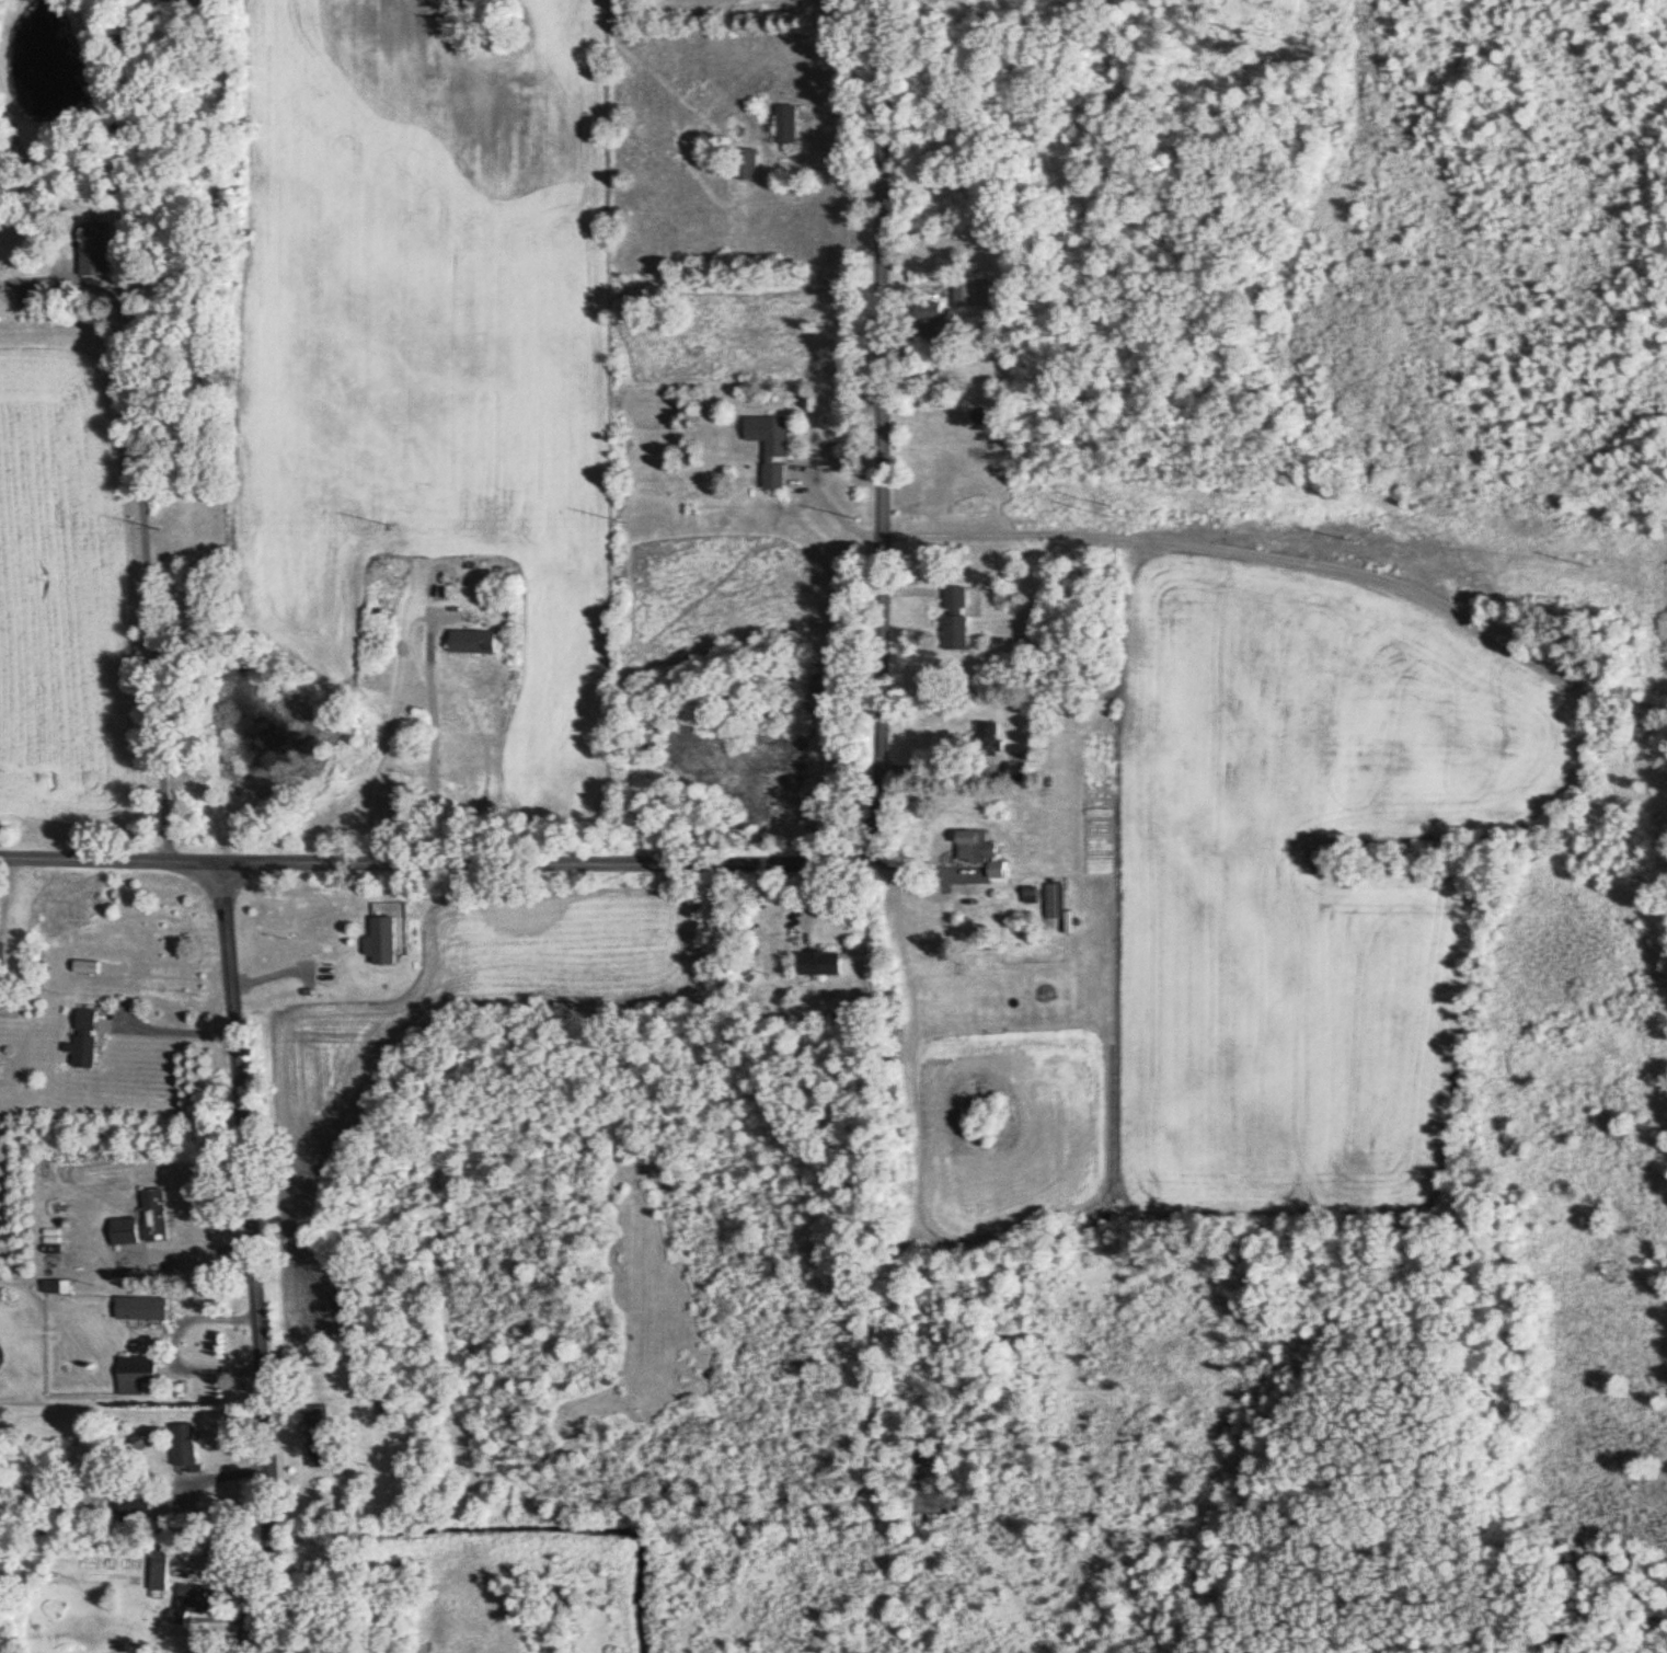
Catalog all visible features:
building: (784, 126)
building: (744, 165)
building: (91, 250)
building: (969, 294)
building: (932, 320)
building: (976, 417)
building: (769, 447)
road: (809, 458)
road: (143, 525)
road: (1294, 542)
building: (953, 620)
building: (471, 642)
building: (987, 739)
road: (434, 743)
road: (885, 751)
building: (1014, 771)
building: (978, 853)
road: (112, 866)
building: (1027, 896)
building: (1054, 902)
building: (55, 914)
building: (818, 964)
building: (341, 971)
road: (177, 1033)
building: (82, 1040)
building: (153, 1216)
building: (122, 1232)
road: (255, 1262)
building: (139, 1309)
road: (174, 1348)
building: (134, 1375)
building: (315, 1415)
building: (139, 1442)
building: (182, 1445)
building: (318, 1449)
building: (133, 1508)
building: (158, 1571)
building: (189, 1604)

